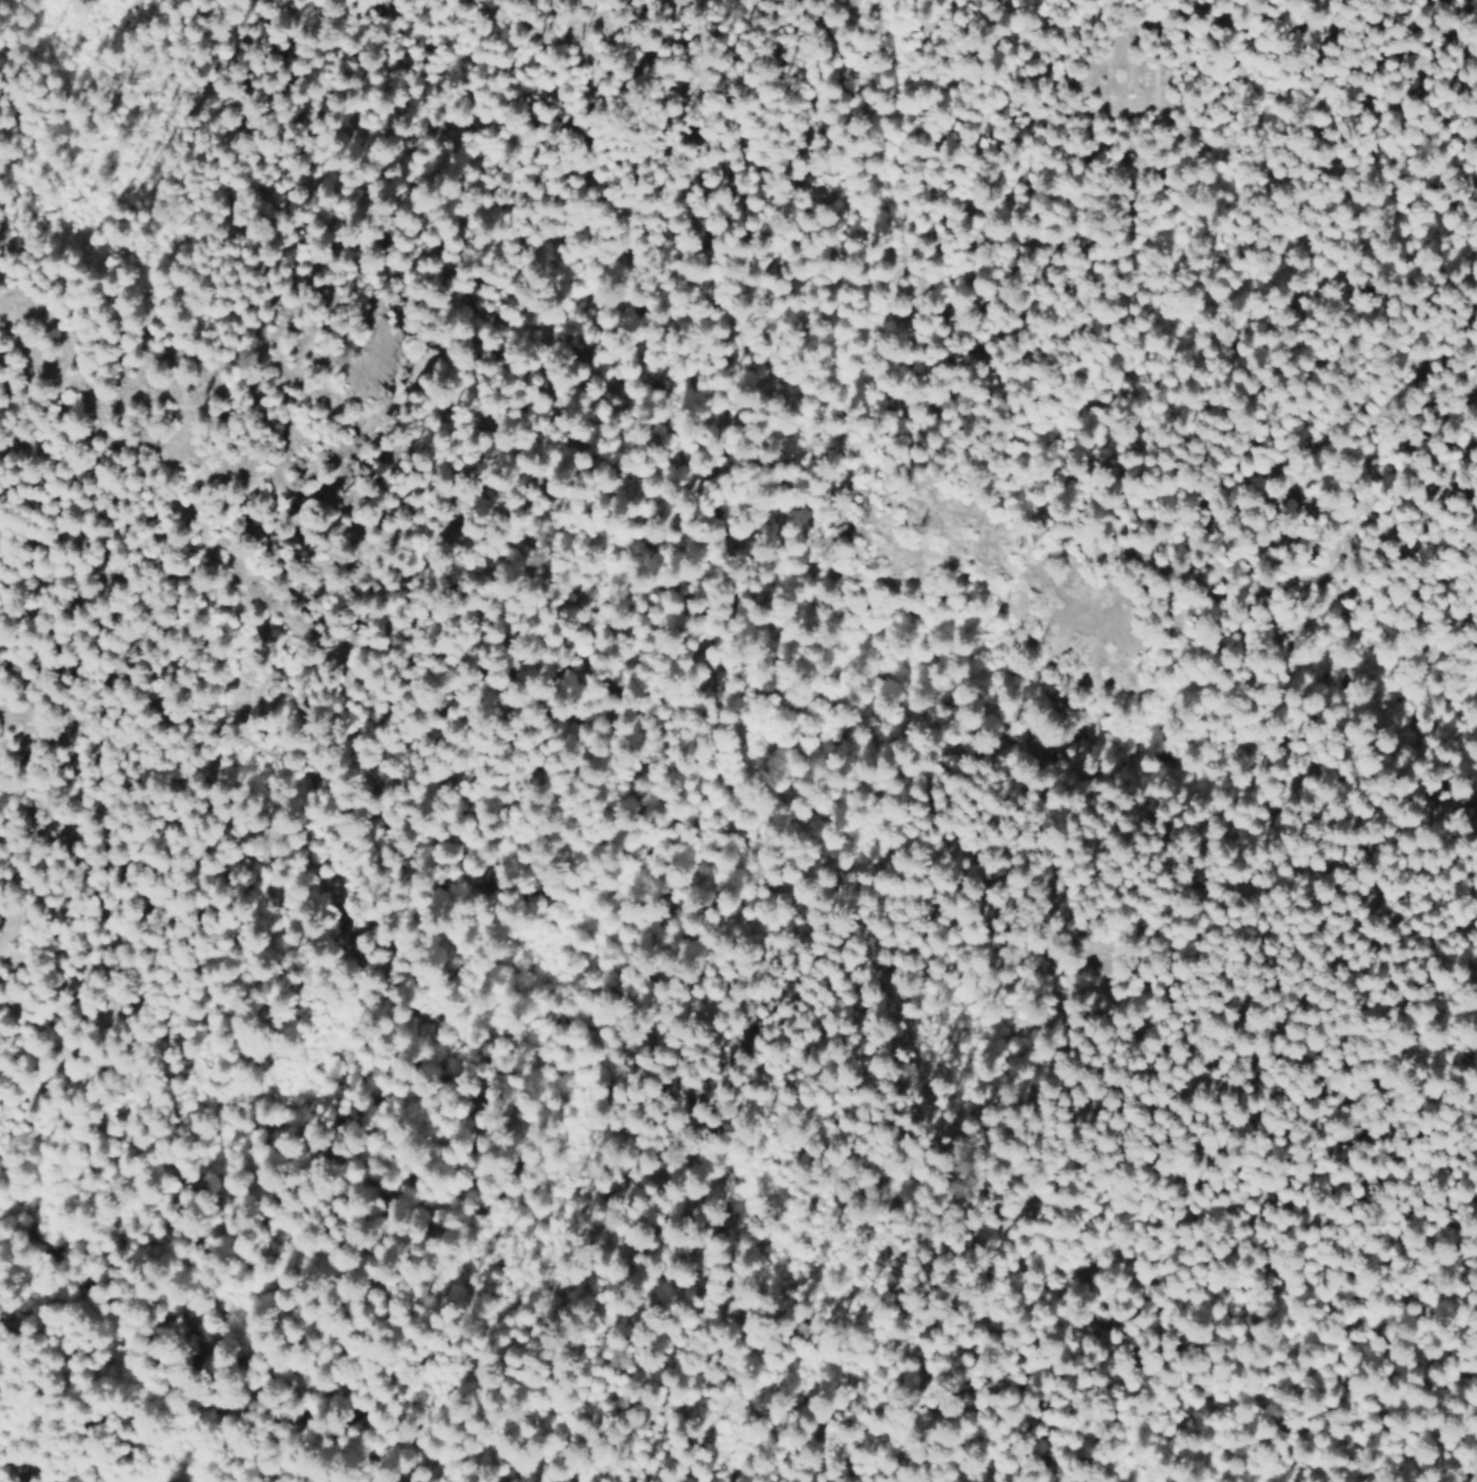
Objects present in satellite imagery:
road: (1412, 181)
road: (230, 359)
road: (1282, 1047)

